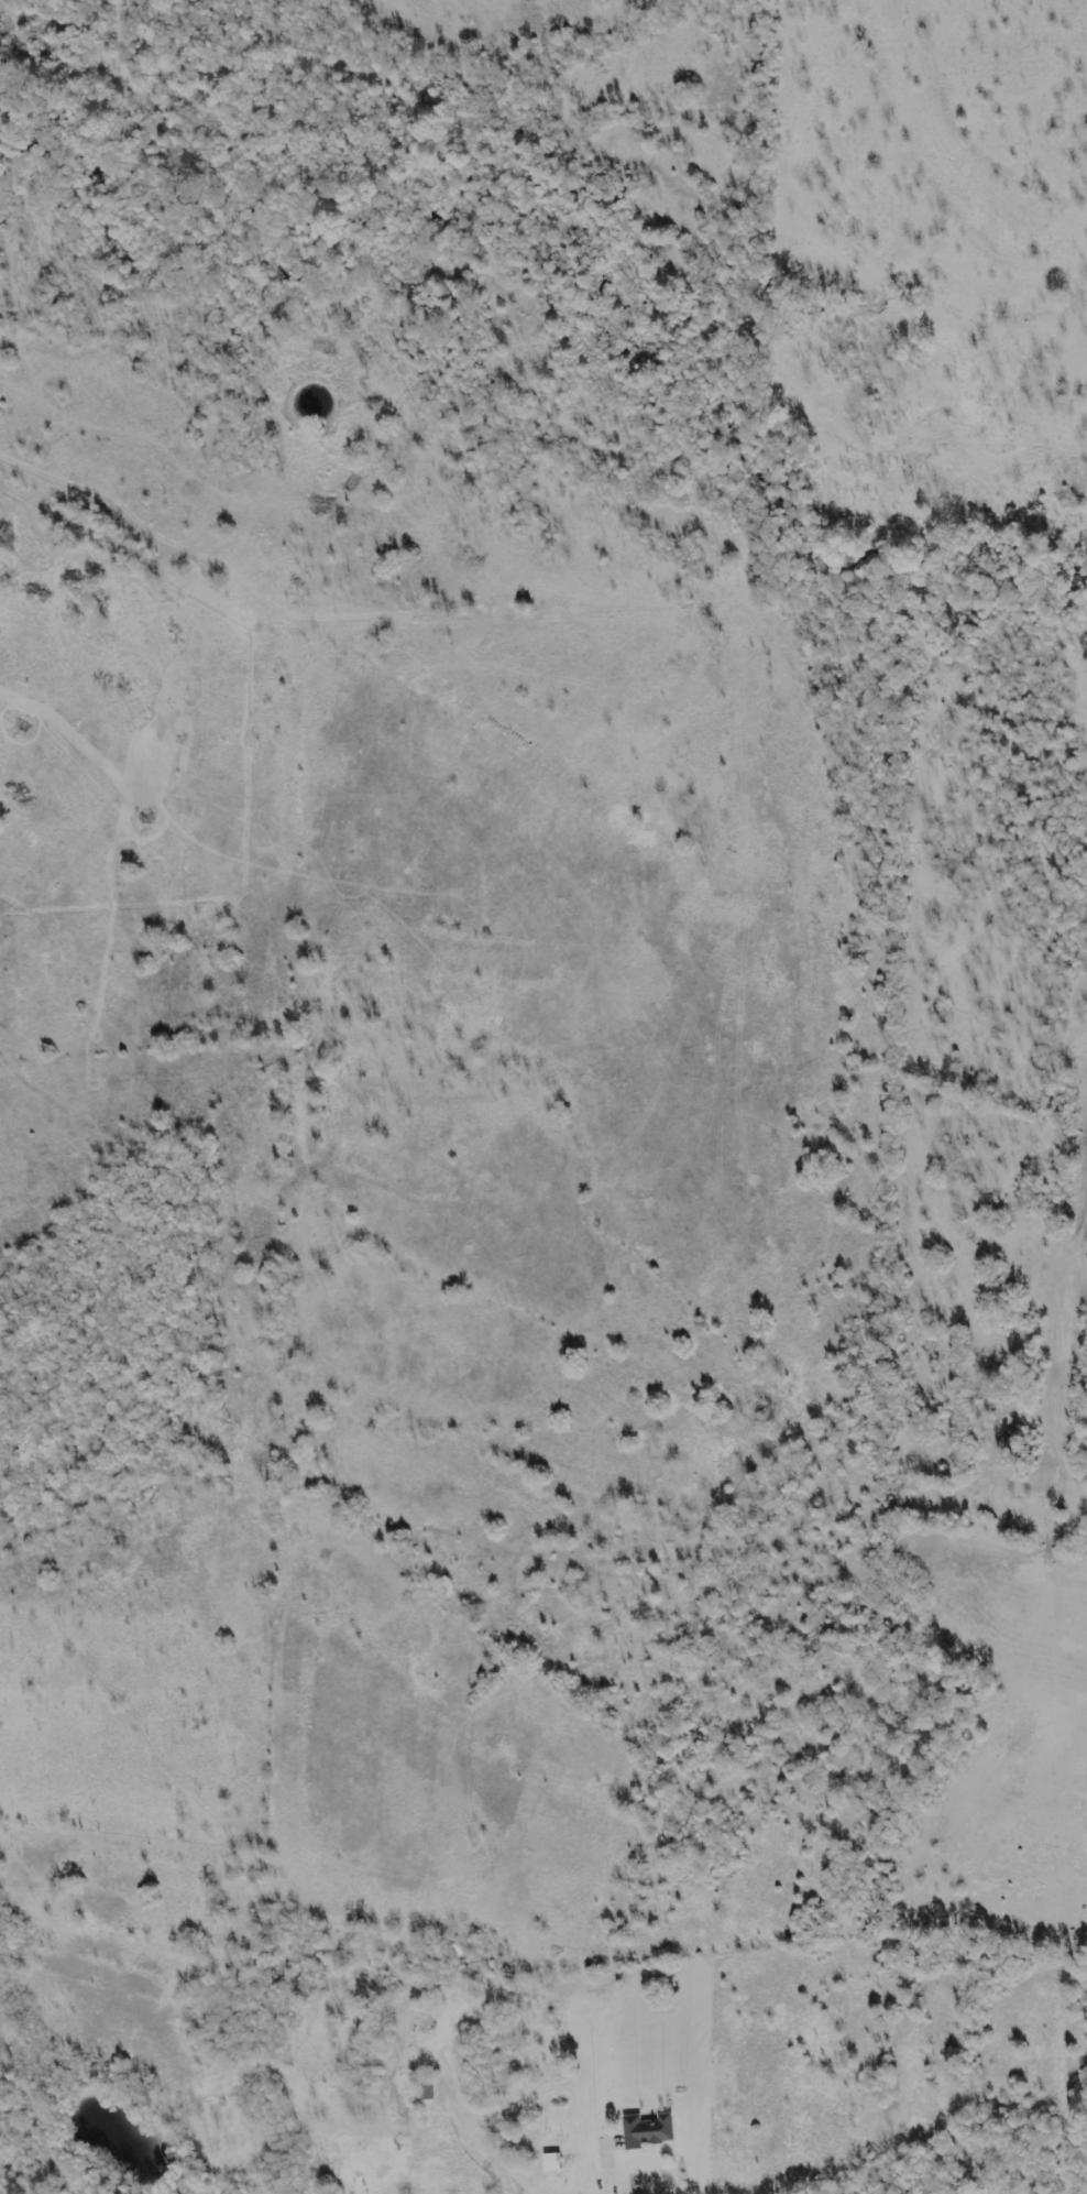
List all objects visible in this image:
building: (422, 2091)
road: (465, 2131)
building: (646, 2132)

